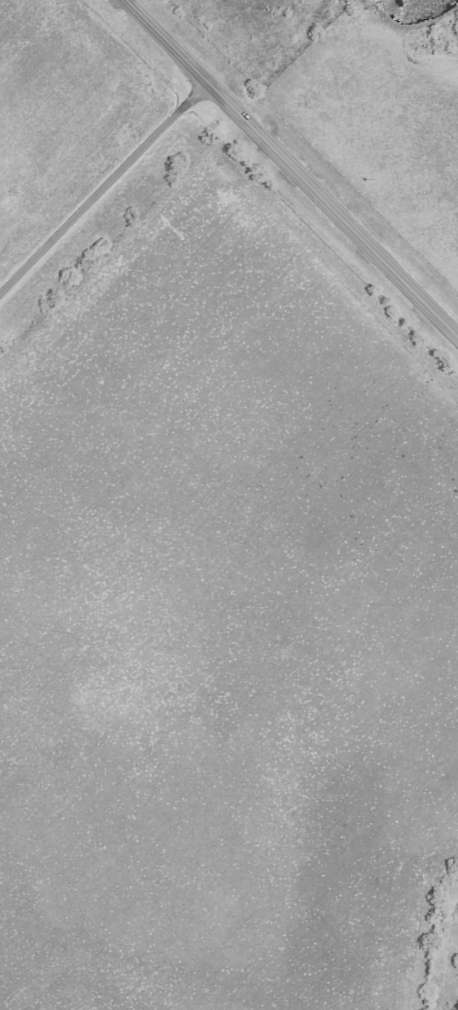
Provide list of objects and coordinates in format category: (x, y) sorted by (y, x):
road: (291, 168)
road: (104, 190)

